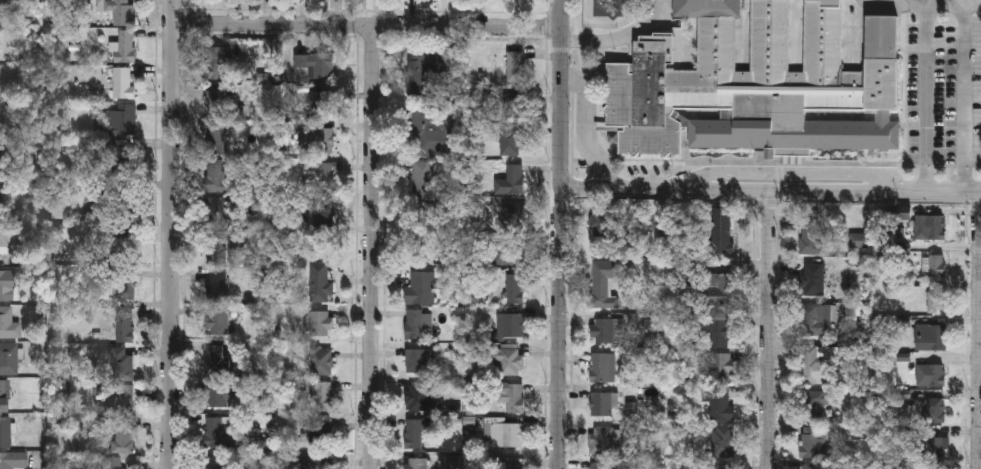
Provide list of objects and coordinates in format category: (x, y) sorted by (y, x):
building: (862, 3)
road: (944, 3)
road: (925, 6)
building: (121, 11)
road: (363, 24)
road: (623, 37)
building: (122, 47)
building: (216, 61)
building: (314, 64)
building: (511, 65)
building: (424, 71)
building: (122, 82)
building: (762, 85)
road: (926, 99)
road: (964, 99)
building: (219, 100)
building: (324, 102)
building: (514, 104)
building: (121, 119)
road: (585, 130)
building: (432, 132)
building: (214, 137)
building: (319, 139)
building: (513, 140)
building: (215, 174)
building: (314, 174)
road: (778, 174)
building: (516, 177)
building: (424, 182)
road: (770, 190)
building: (218, 208)
building: (513, 214)
building: (601, 219)
building: (929, 226)
building: (721, 229)
building: (810, 231)
road: (162, 234)
road: (559, 234)
building: (11, 237)
building: (219, 246)
road: (370, 246)
building: (506, 252)
building: (125, 264)
building: (936, 264)
building: (813, 278)
building: (320, 281)
building: (604, 282)
building: (6, 283)
building: (217, 283)
building: (422, 286)
building: (515, 287)
building: (716, 287)
building: (936, 299)
building: (815, 318)
building: (219, 320)
building: (319, 323)
building: (414, 323)
building: (9, 324)
building: (510, 324)
building: (125, 326)
building: (603, 329)
road: (766, 329)
road: (980, 330)
building: (720, 331)
building: (930, 335)
building: (213, 358)
building: (321, 358)
building: (510, 358)
building: (9, 359)
building: (416, 359)
building: (813, 362)
building: (120, 363)
building: (721, 365)
building: (602, 366)
building: (930, 373)
building: (219, 392)
building: (321, 394)
building: (4, 396)
building: (416, 396)
building: (512, 396)
building: (117, 400)
building: (814, 401)
building: (602, 403)
building: (720, 403)
building: (934, 408)
building: (216, 428)
building: (5, 431)
building: (321, 431)
building: (413, 432)
building: (507, 433)
building: (122, 436)
building: (601, 439)
building: (723, 440)
building: (813, 440)
building: (934, 446)
building: (13, 460)
building: (217, 461)
building: (318, 462)
building: (416, 462)
building: (112, 463)
building: (513, 463)
building: (598, 465)
building: (722, 465)
building: (811, 466)

